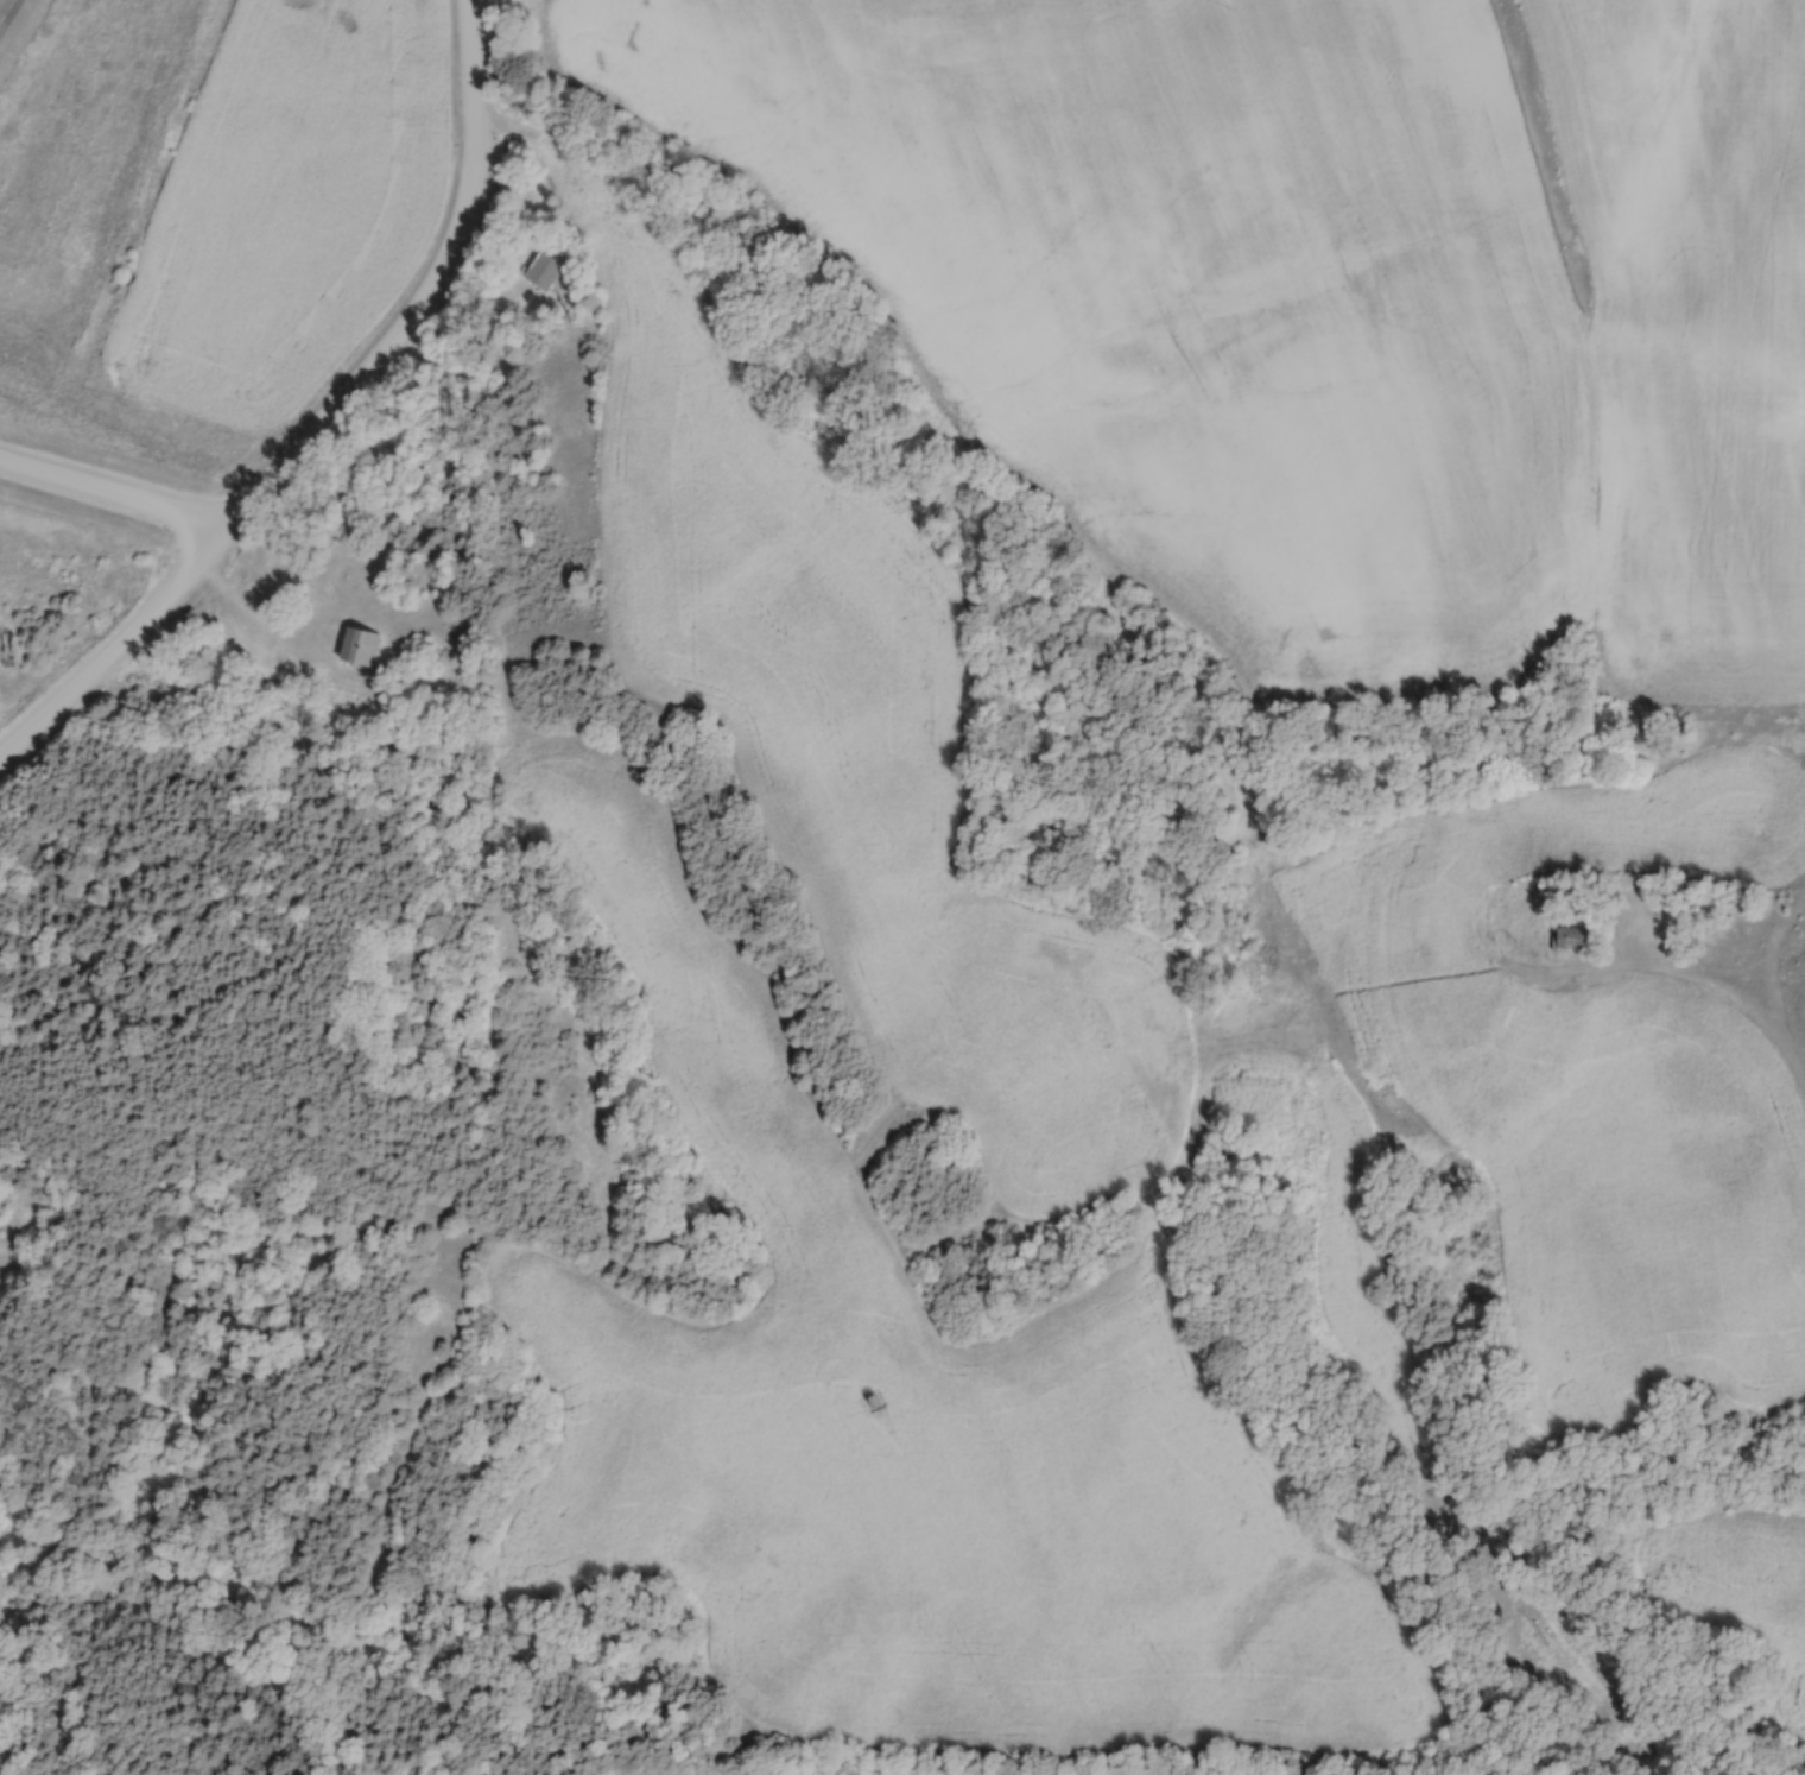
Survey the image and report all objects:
road: (8, 14)
building: (546, 271)
road: (360, 384)
road: (179, 542)
road: (260, 613)
road: (126, 632)
building: (361, 646)
building: (1563, 939)

